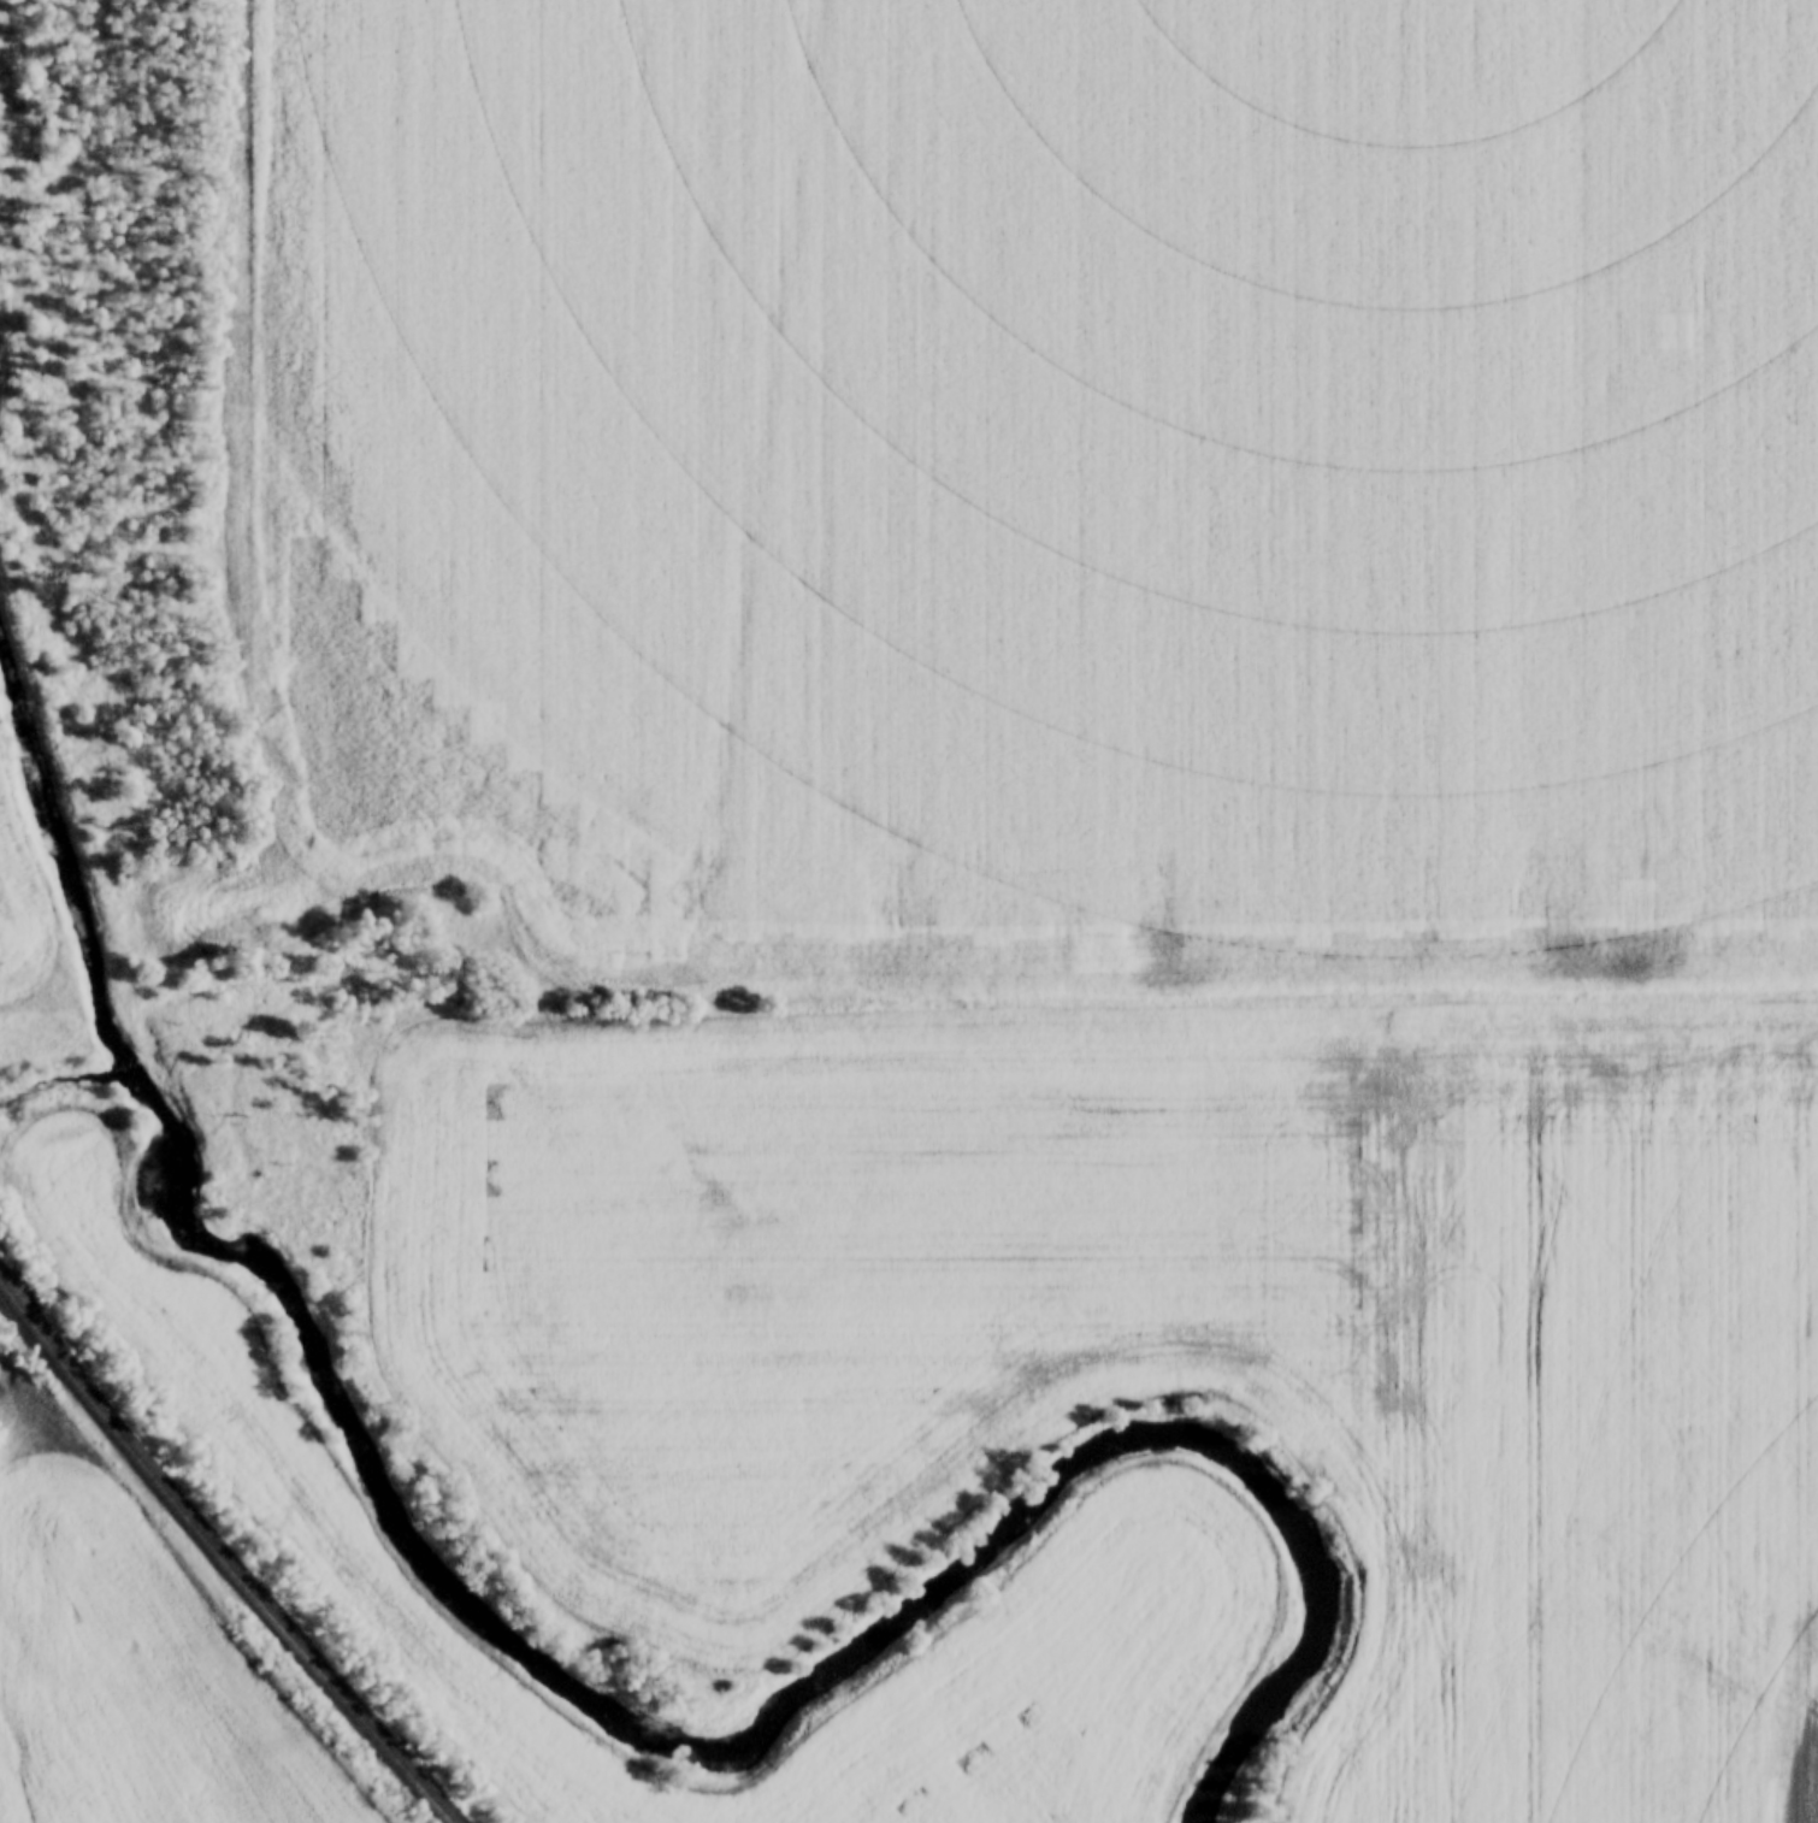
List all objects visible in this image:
railway: (223, 1554)

